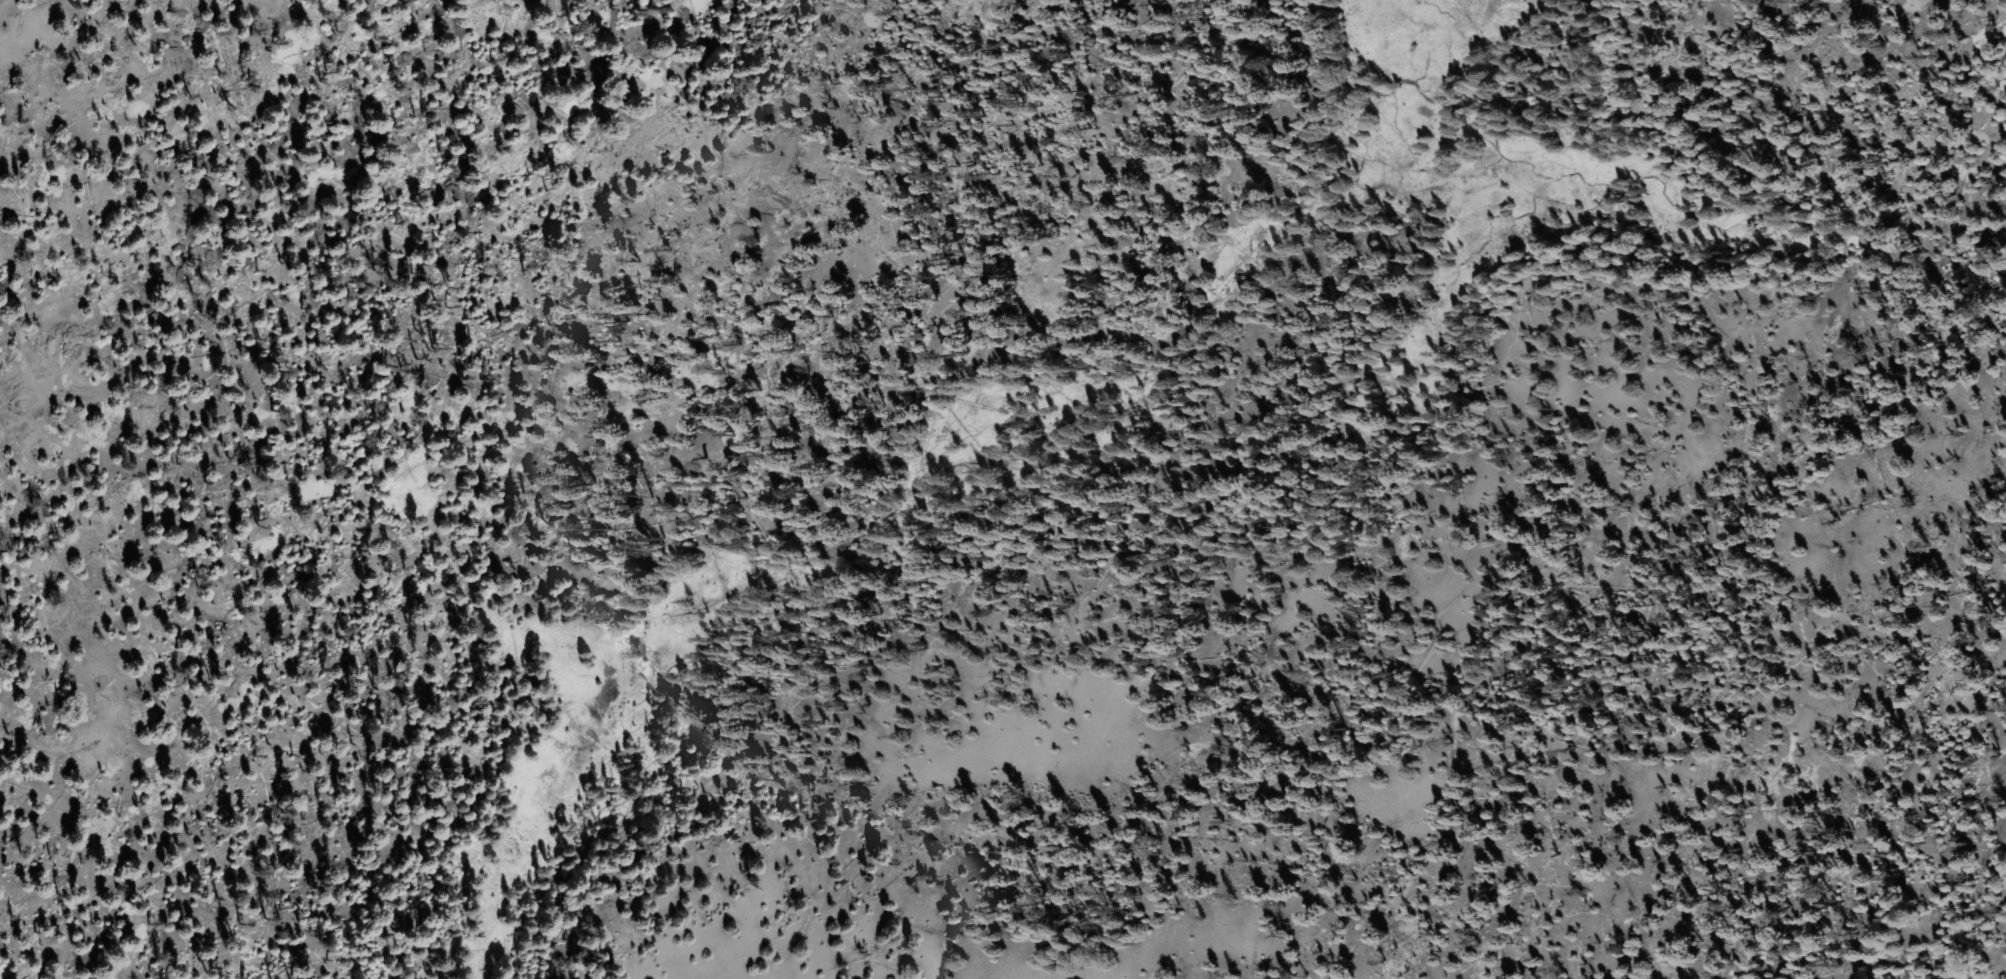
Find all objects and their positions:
road: (84, 203)
road: (75, 560)

